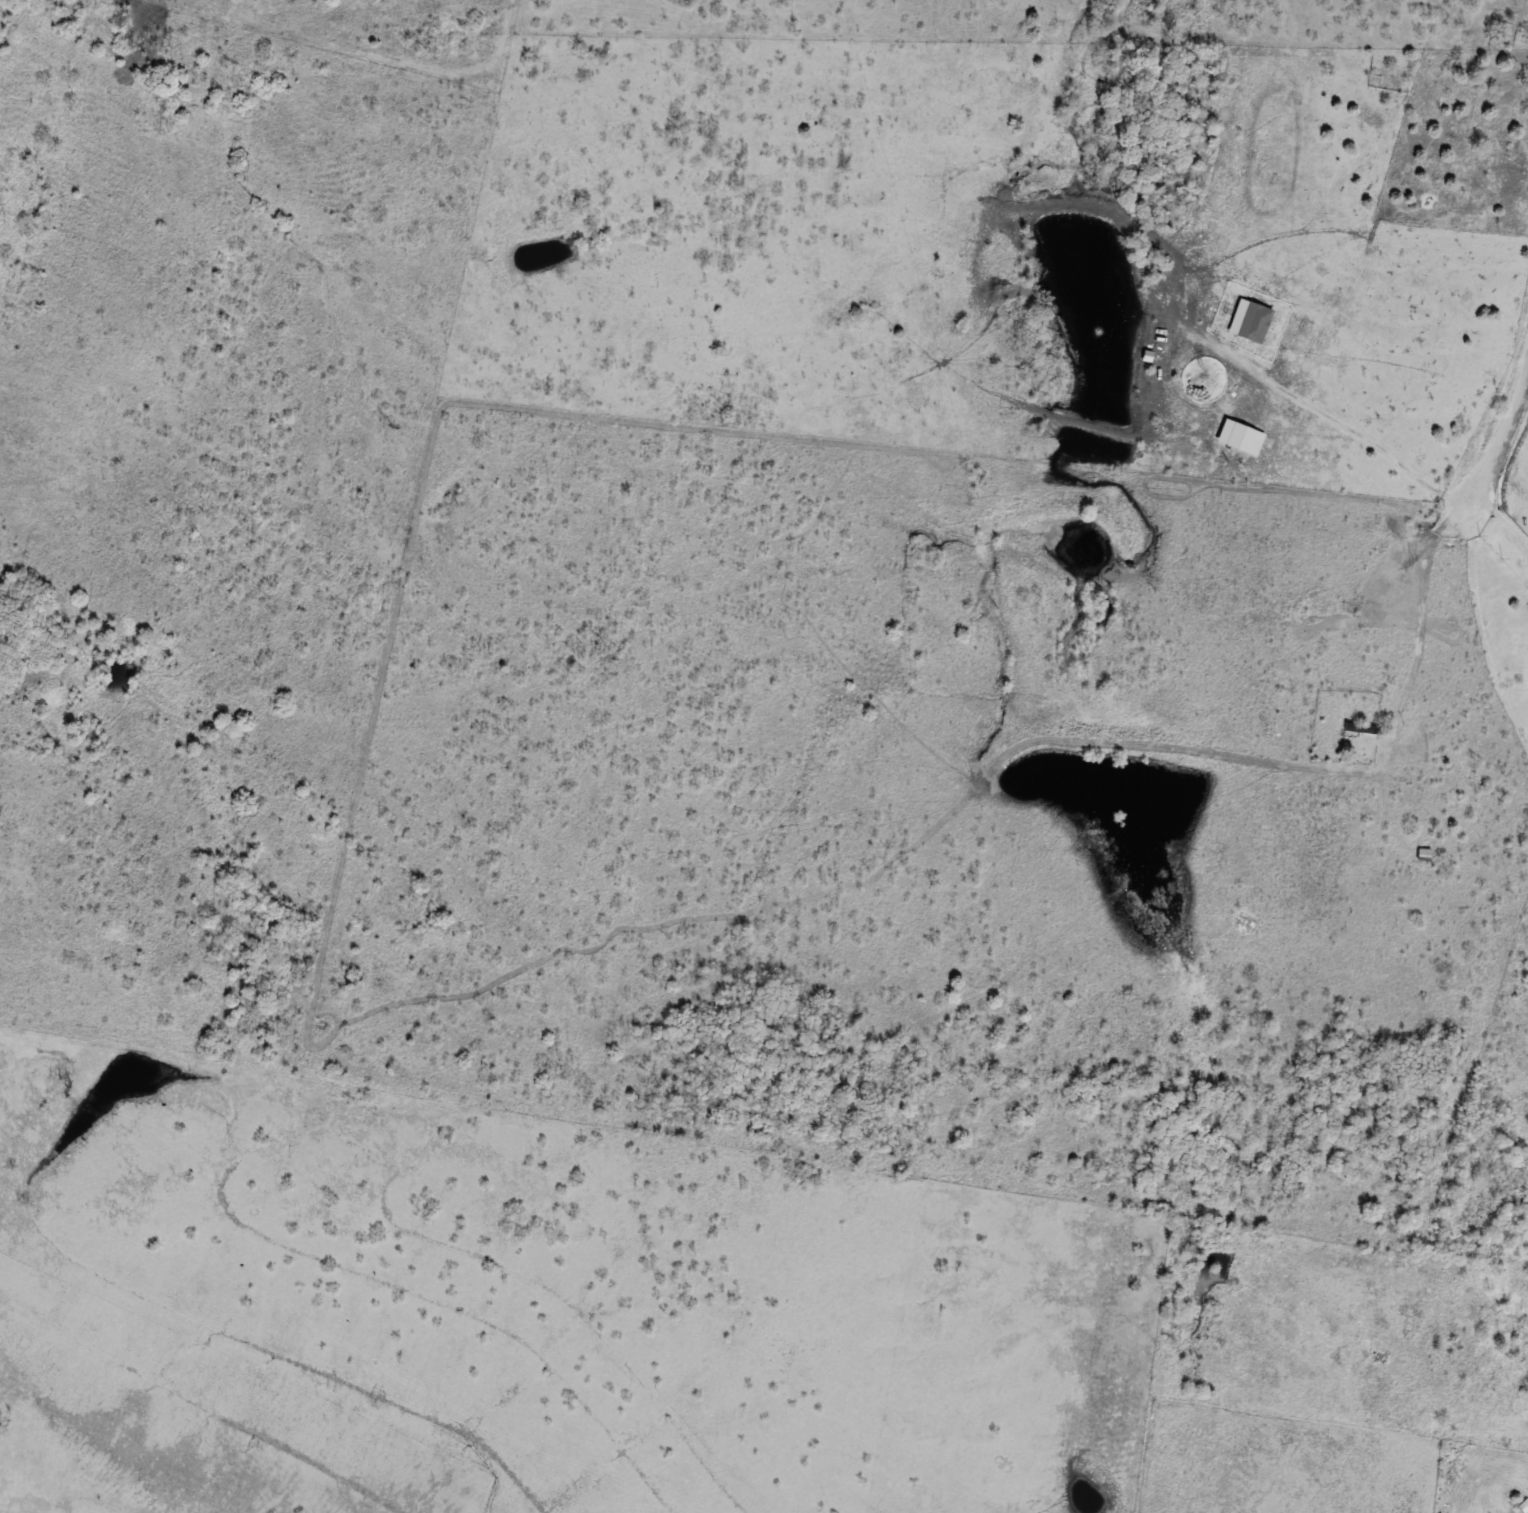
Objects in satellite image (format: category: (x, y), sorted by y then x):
road: (1524, 353)
road: (1335, 425)
road: (1496, 429)
road: (1497, 519)
road: (1526, 554)
road: (1415, 617)
building: (1360, 729)
building: (1454, 1395)
road: (1501, 1455)

